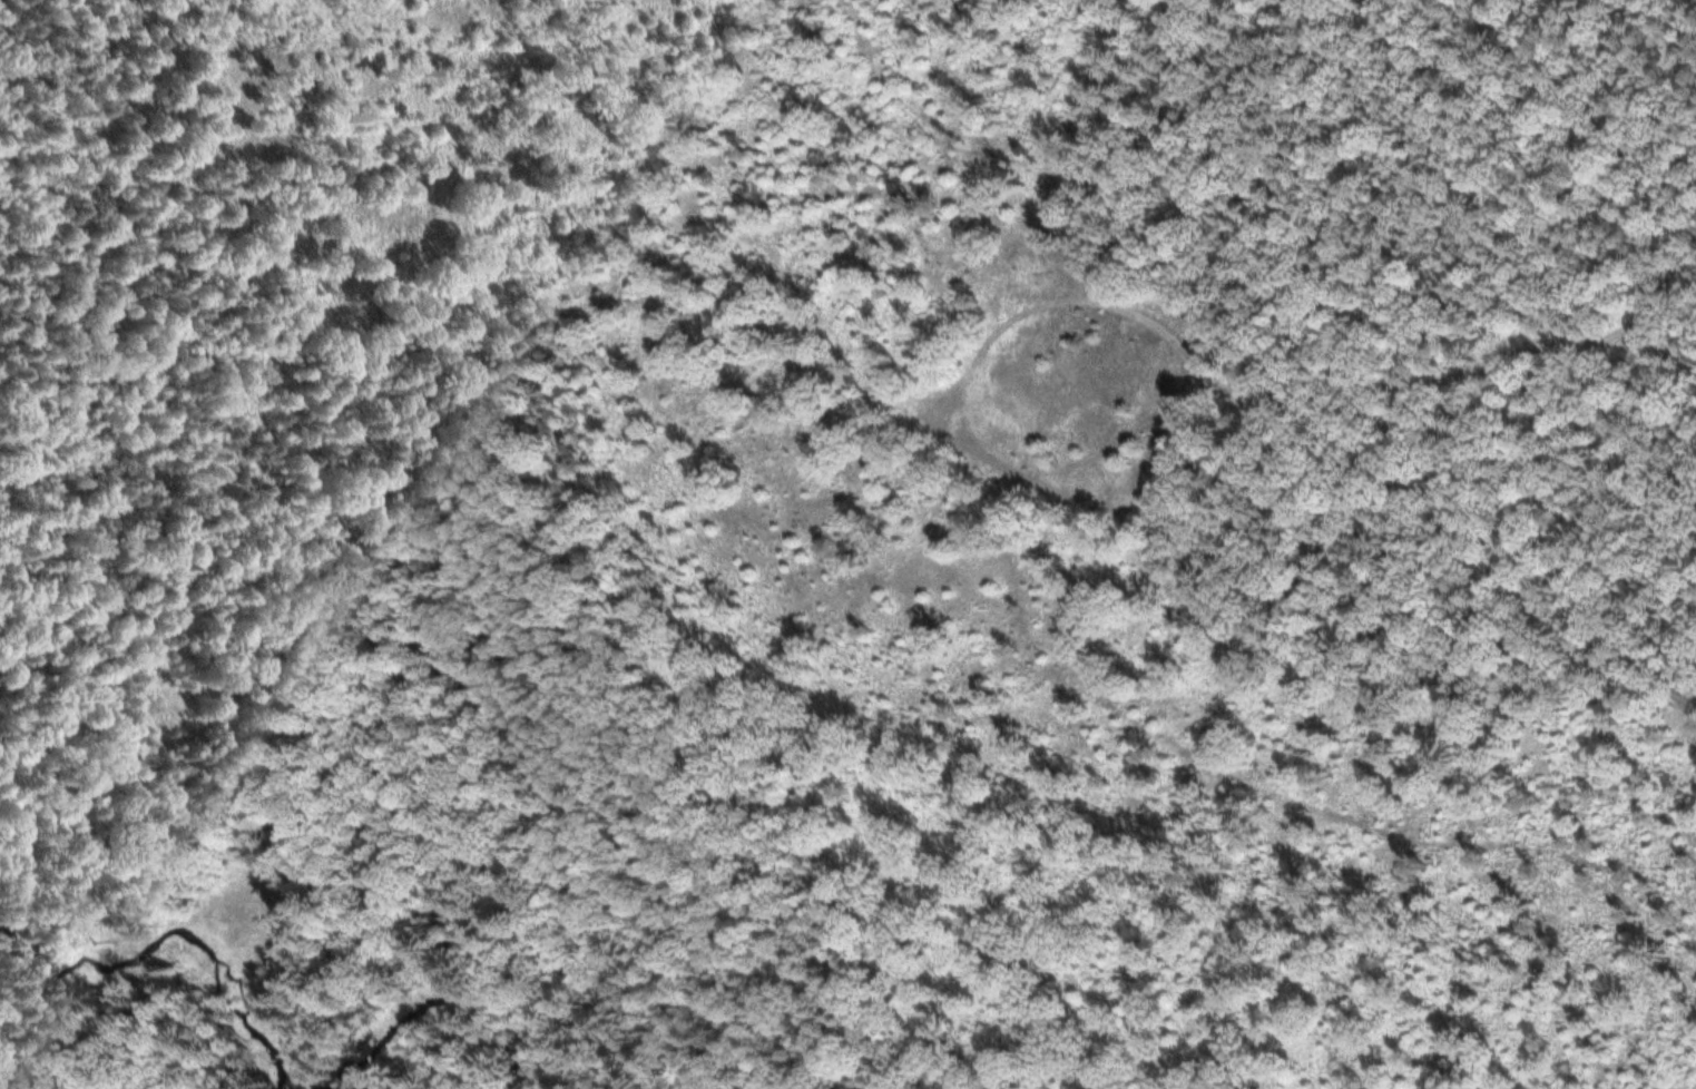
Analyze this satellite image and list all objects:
road: (992, 41)
road: (1263, 219)
road: (1061, 351)
road: (1489, 364)
road: (566, 405)
road: (369, 884)
road: (55, 1024)

